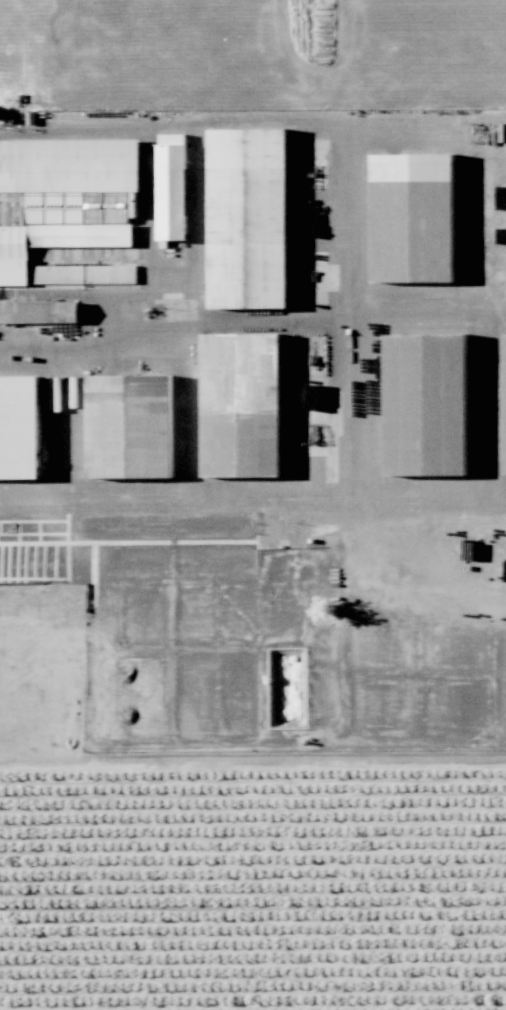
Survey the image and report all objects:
building: (172, 187)
building: (62, 205)
building: (94, 207)
building: (248, 218)
building: (413, 218)
building: (39, 312)
building: (505, 385)
building: (426, 404)
building: (241, 405)
building: (130, 426)
building: (19, 427)

